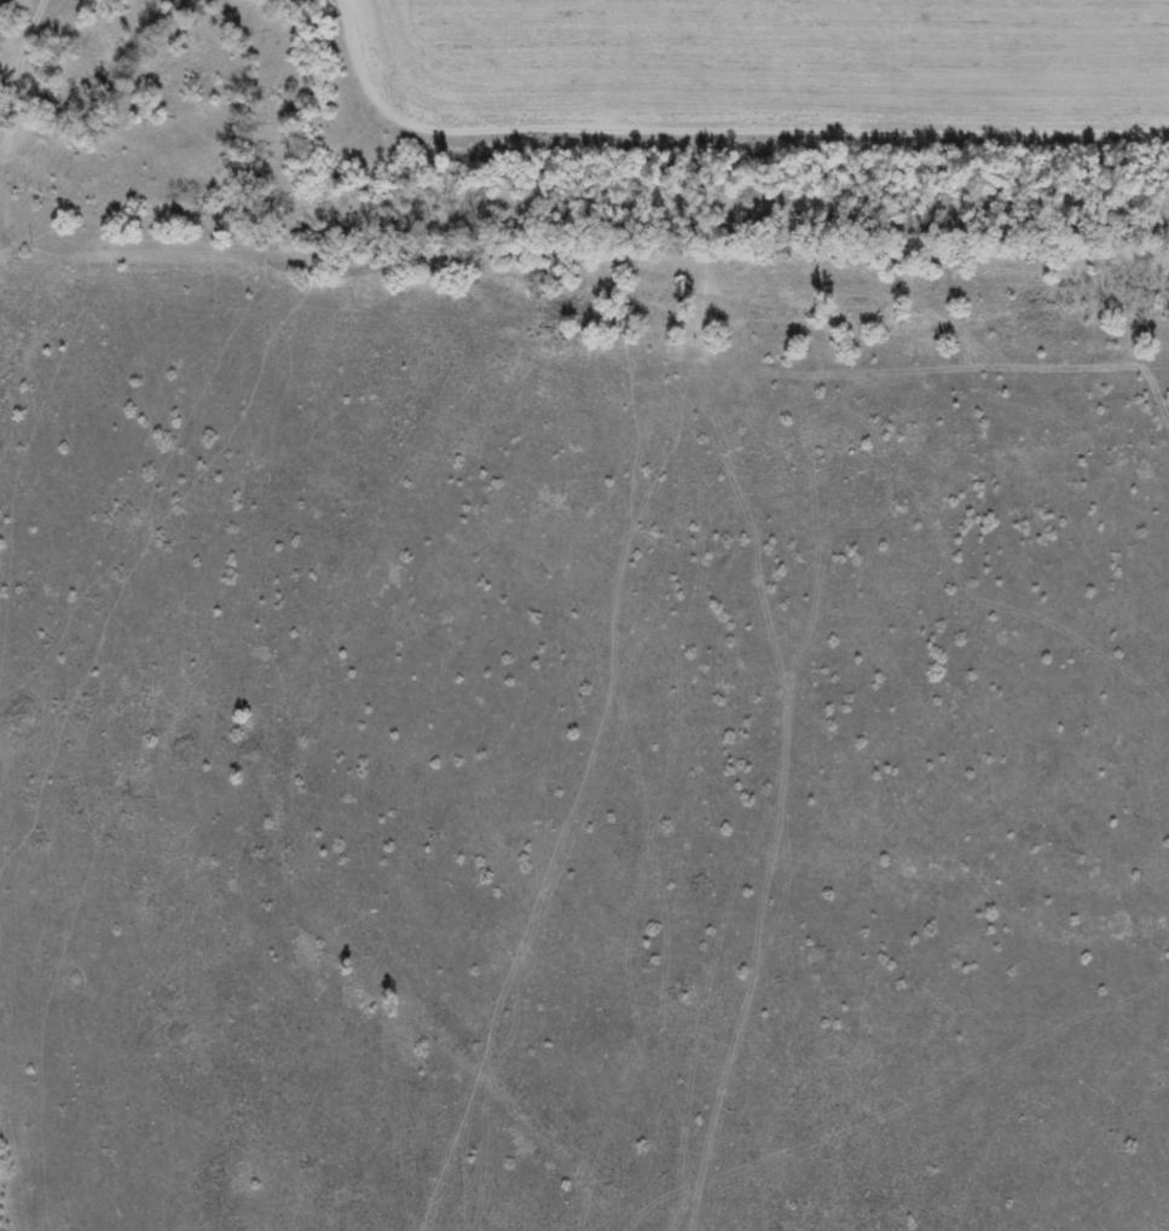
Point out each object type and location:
road: (44, 52)
road: (713, 137)

